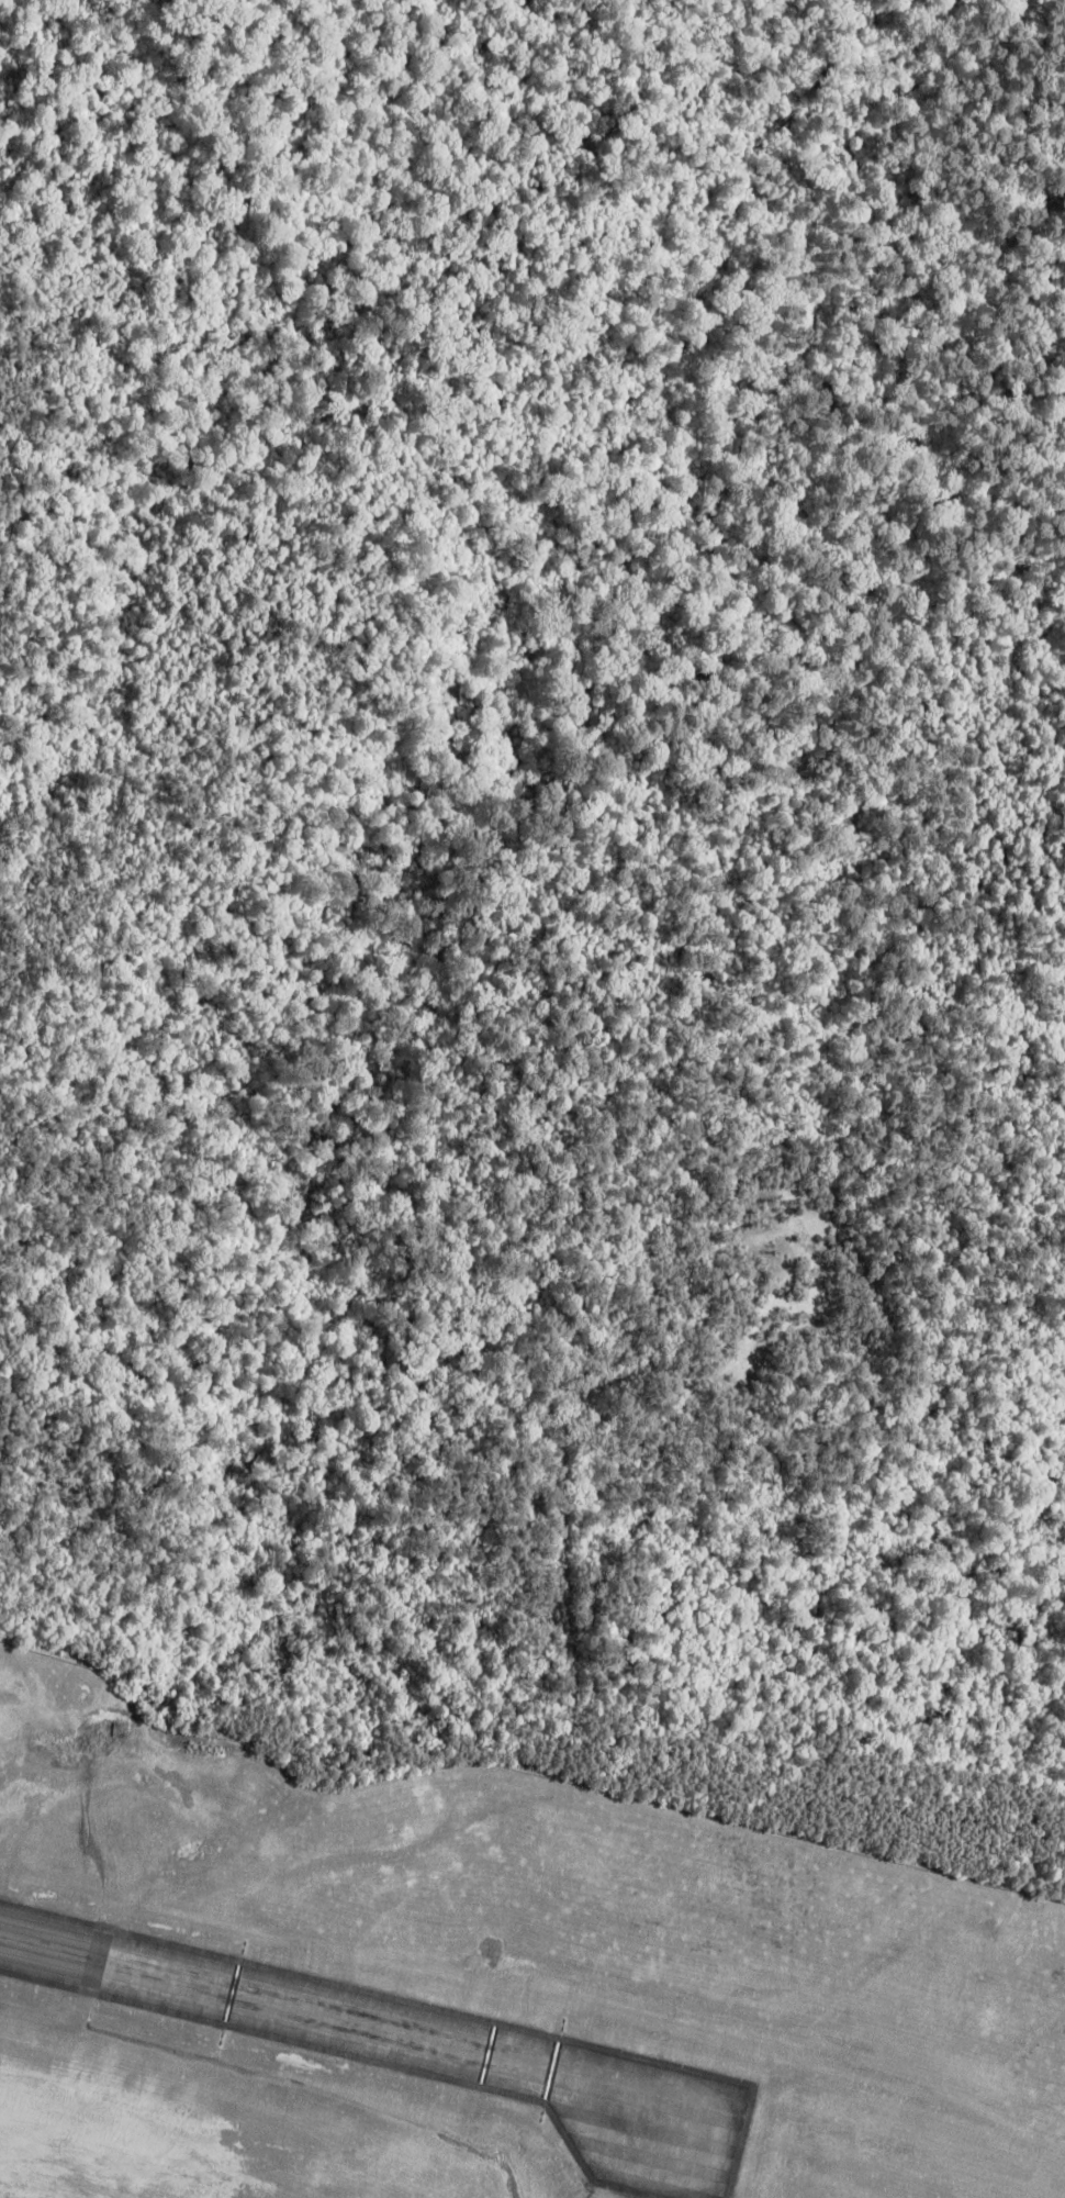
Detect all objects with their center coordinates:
airport: (485, 1986)
airport runway: (374, 2028)

